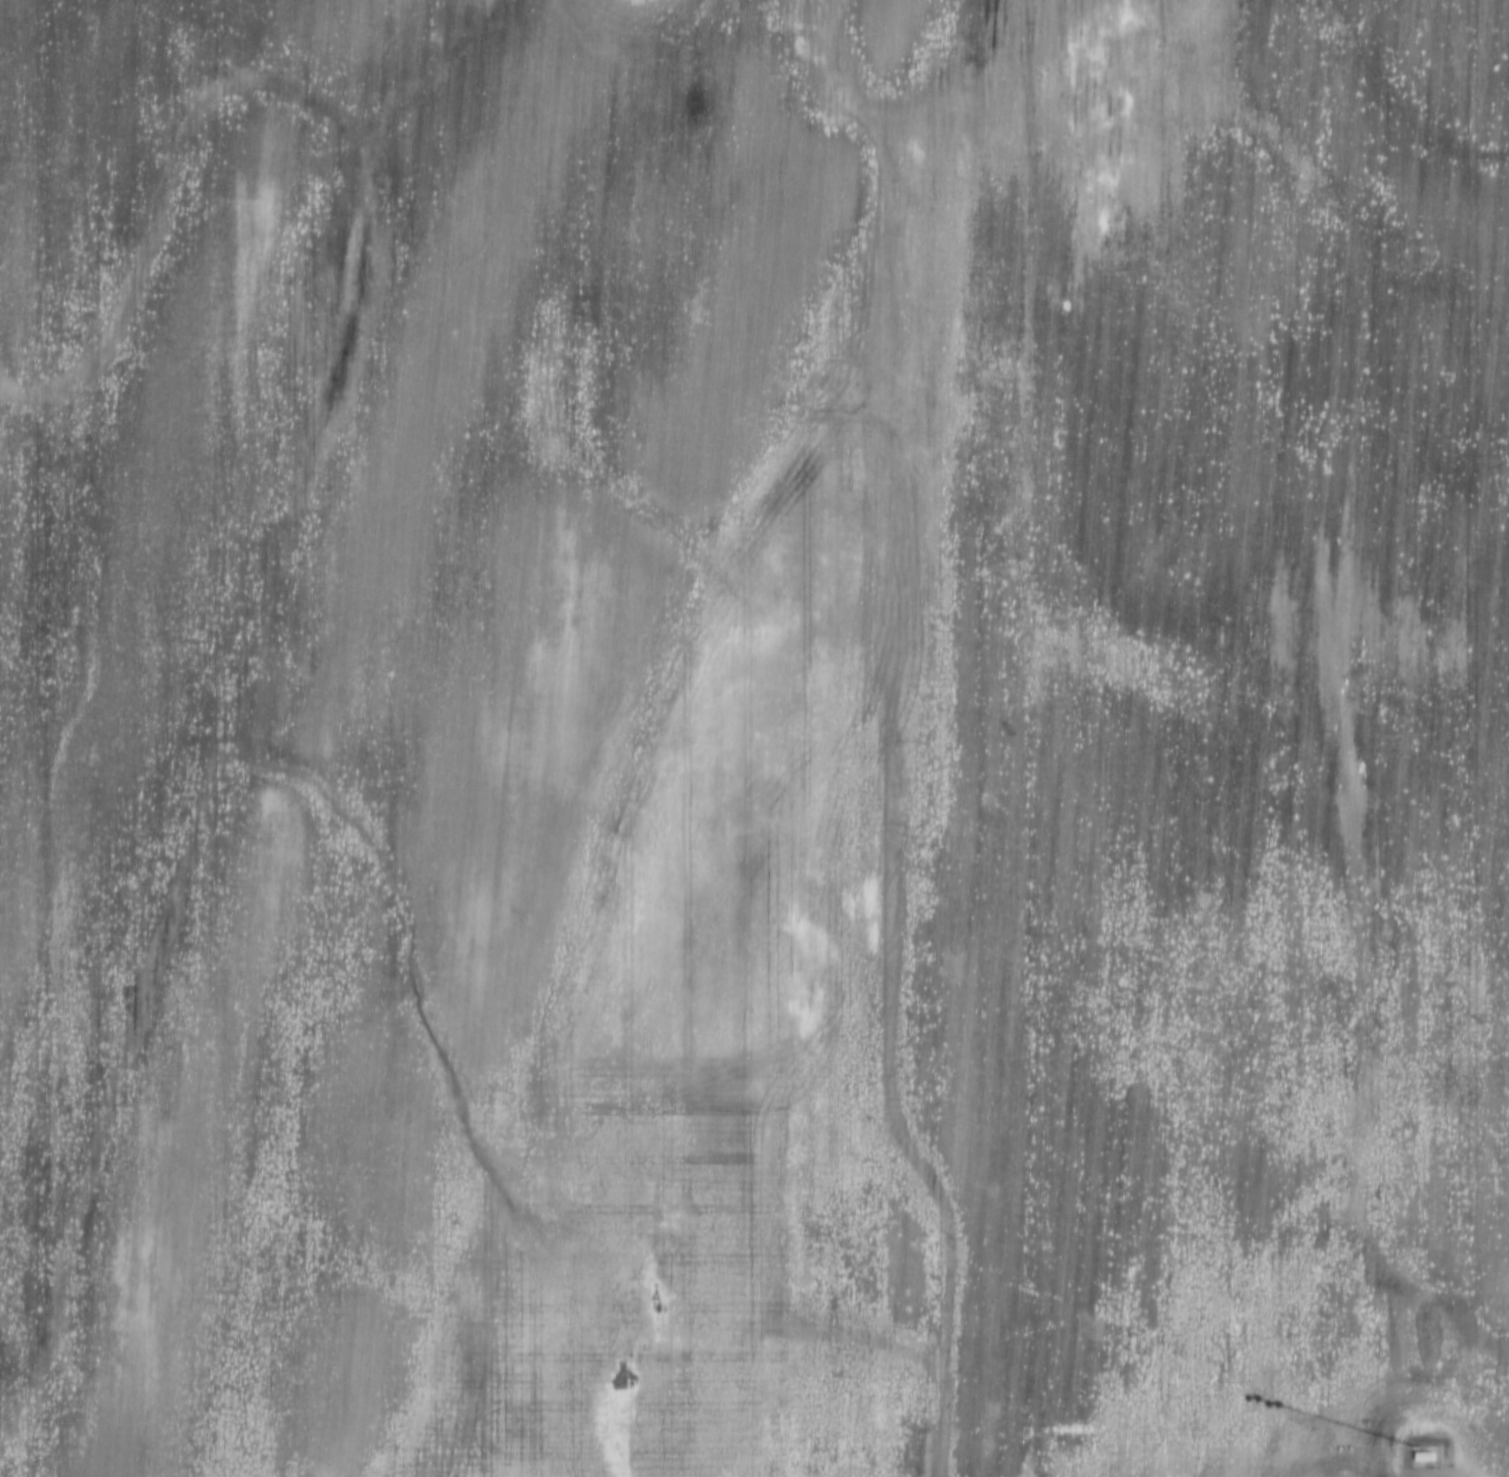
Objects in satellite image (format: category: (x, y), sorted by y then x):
building: (1427, 1457)
building: (1429, 1464)

